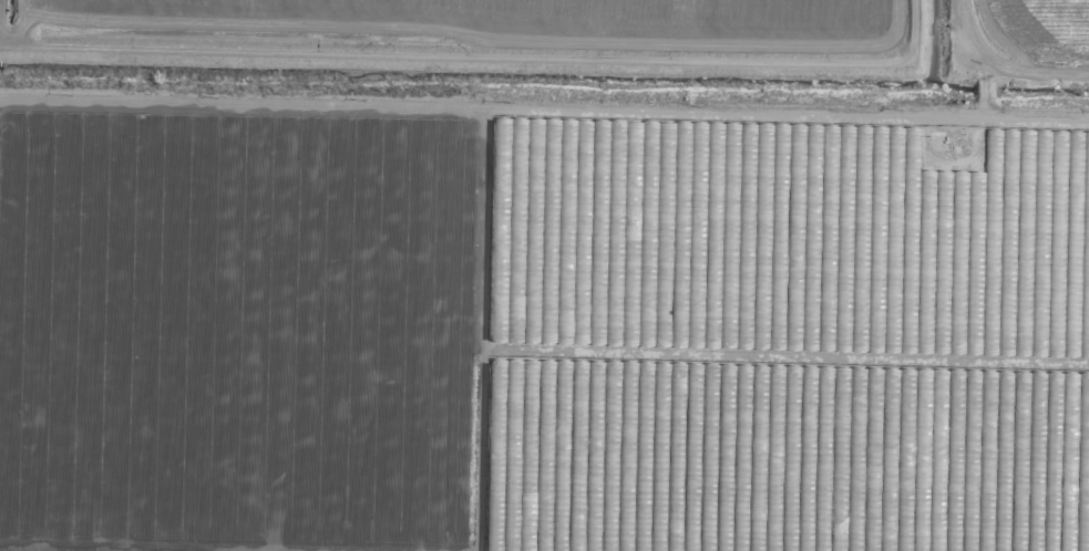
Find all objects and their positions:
crop: (572, 38)
road: (544, 114)
crop: (541, 337)

